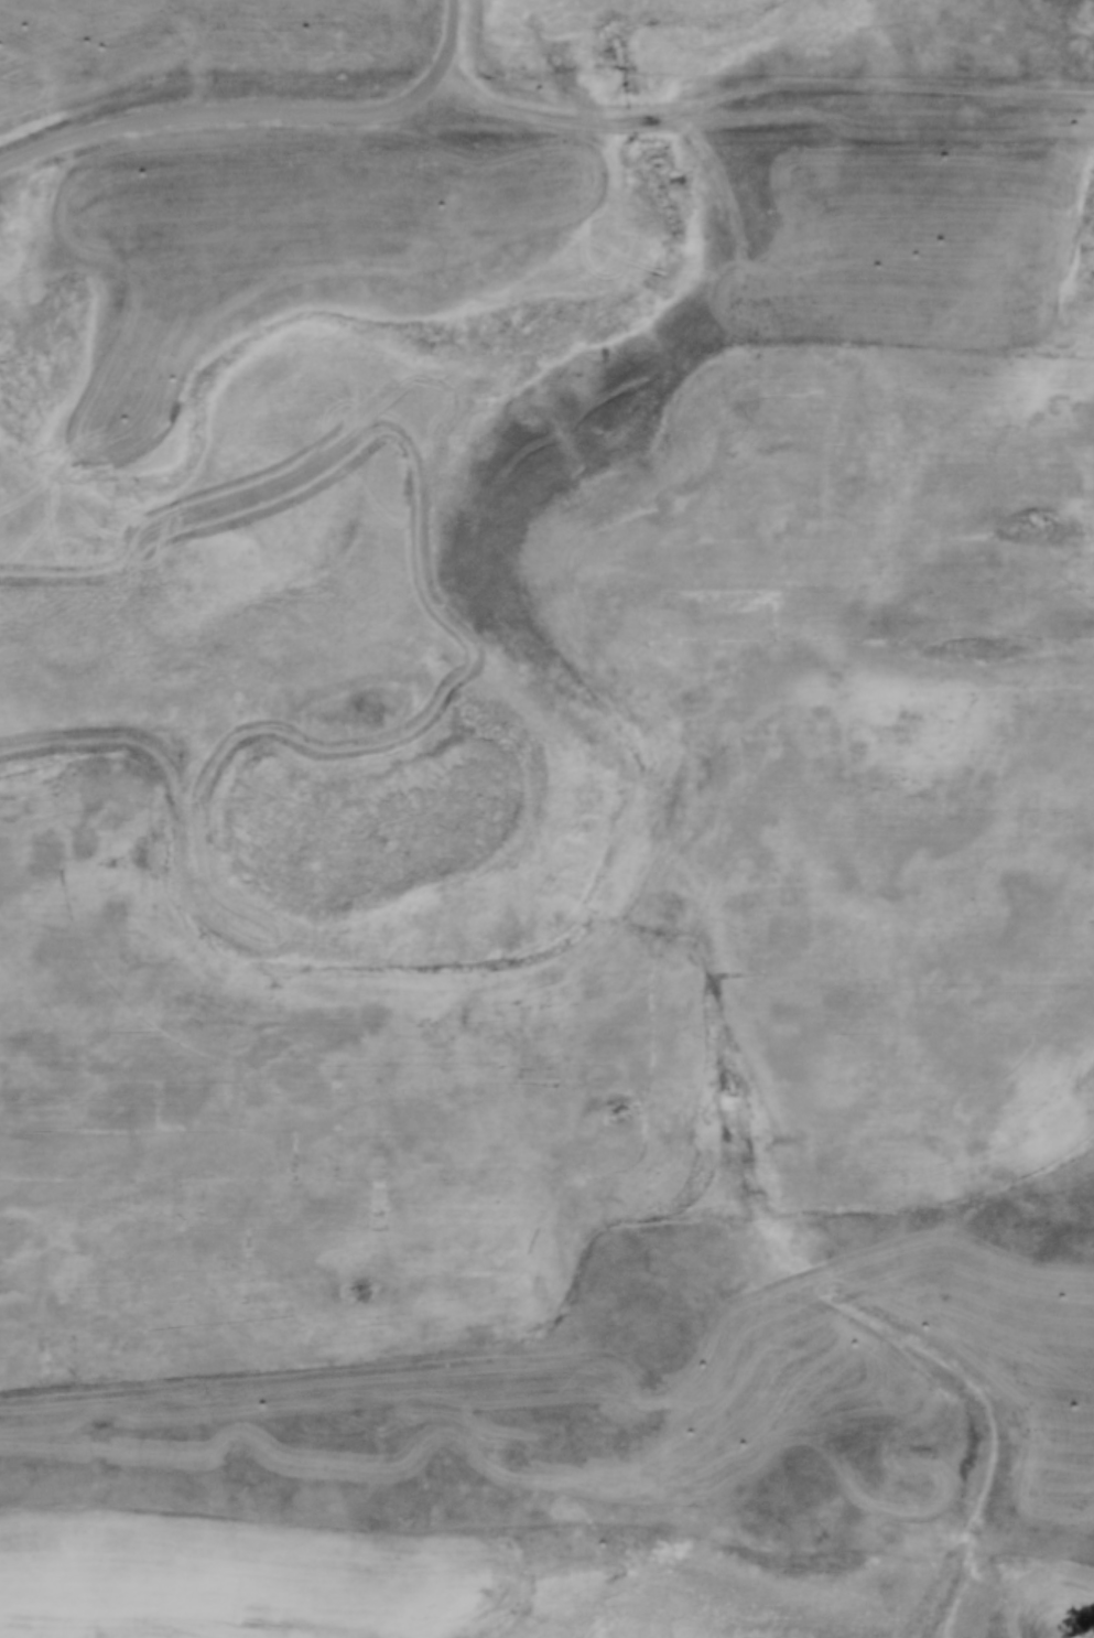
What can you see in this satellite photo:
road: (757, 90)
road: (266, 116)

